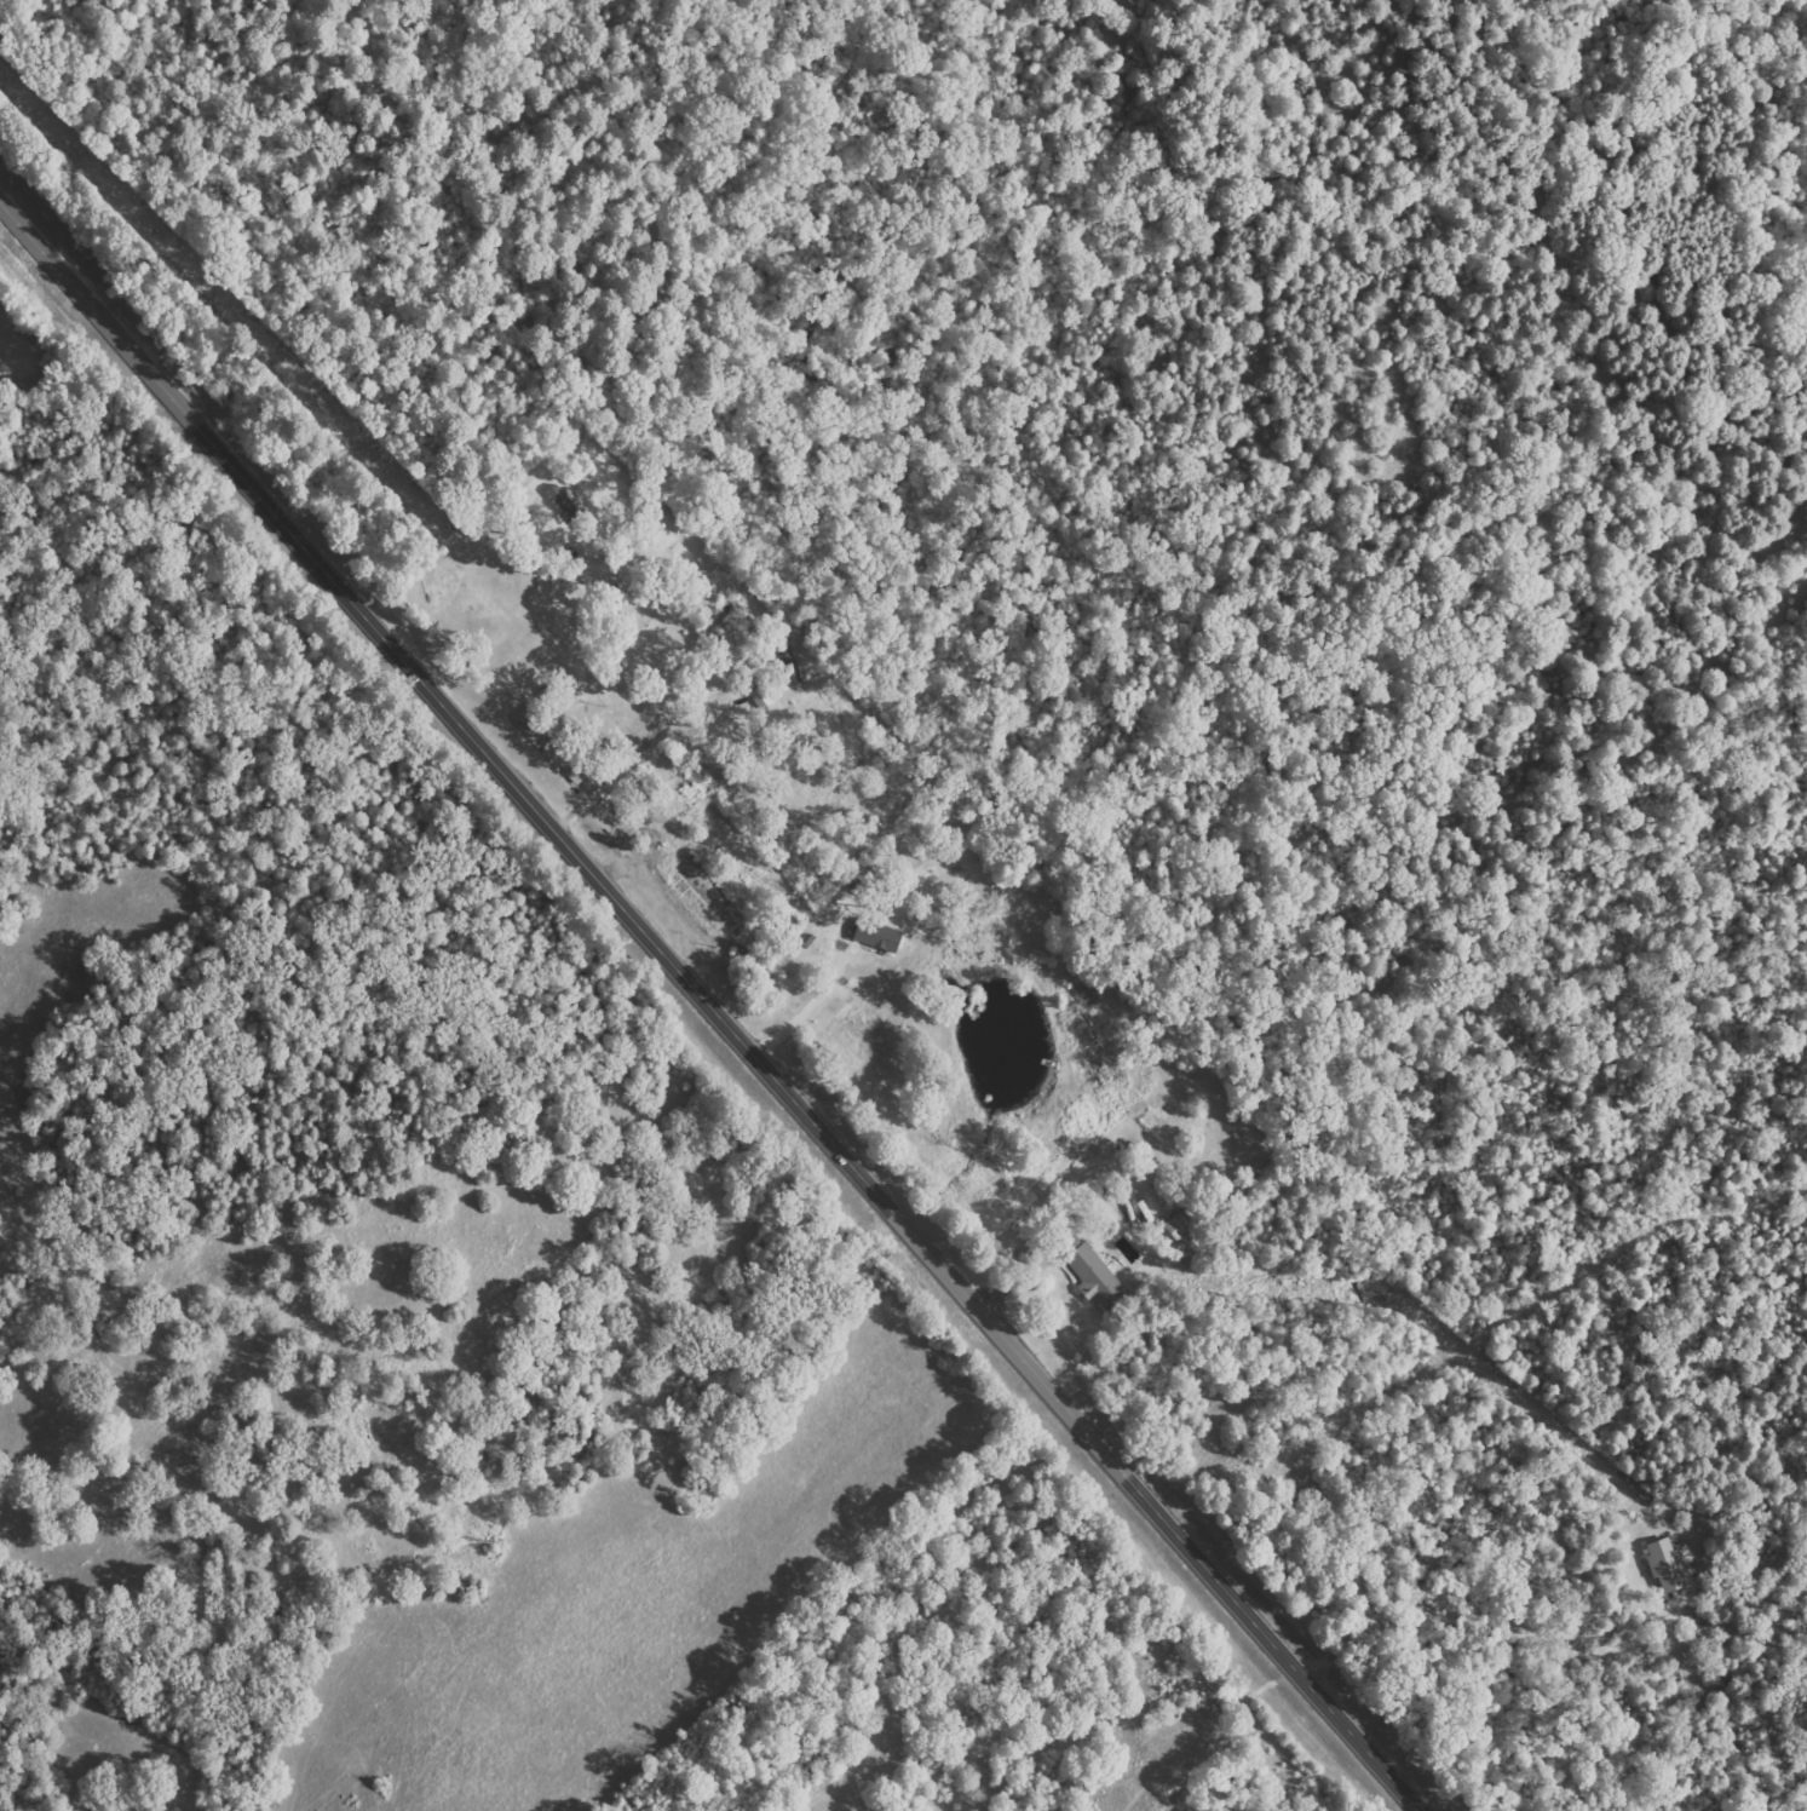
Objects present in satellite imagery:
building: (533, 718)
building: (882, 936)
road: (709, 1008)
building: (1087, 1271)
road: (1222, 1310)
building: (1662, 1565)

